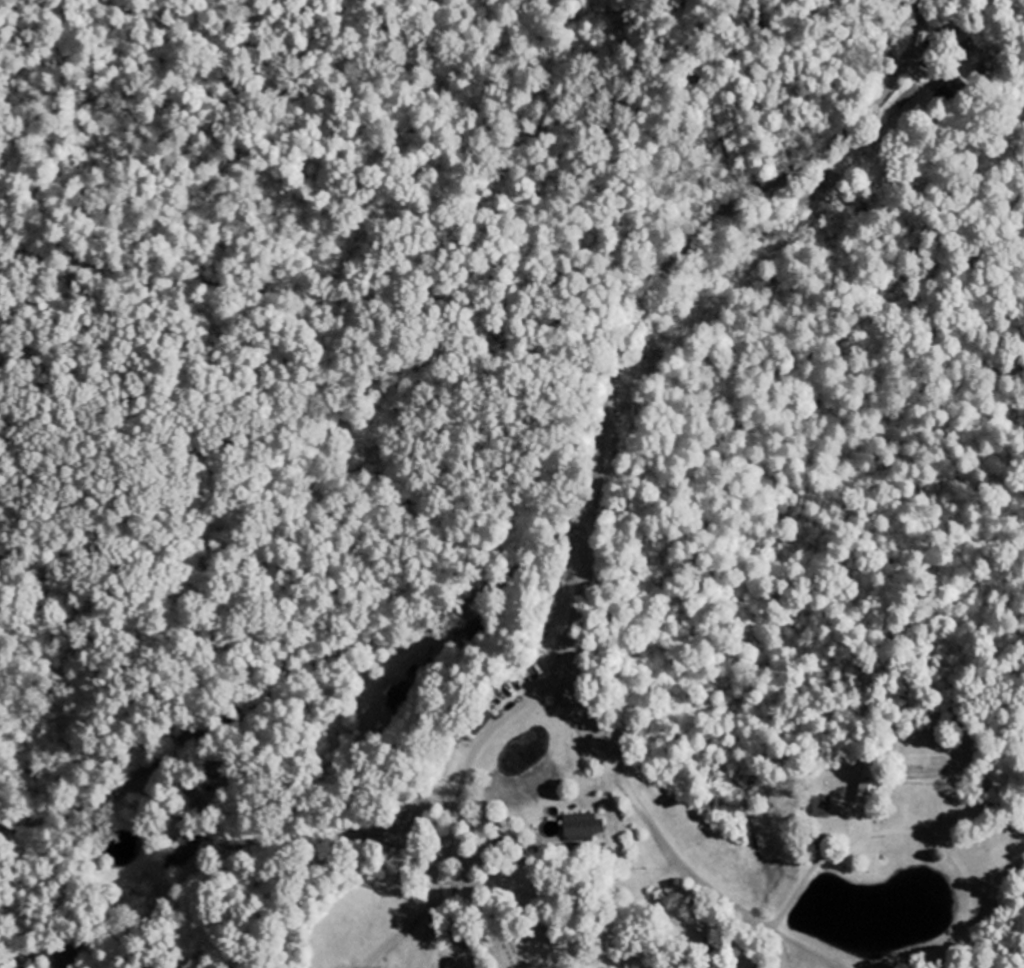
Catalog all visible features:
road: (919, 19)
building: (953, 92)
road: (700, 237)
road: (295, 663)
building: (401, 697)
road: (618, 781)
building: (870, 787)
building: (822, 806)
road: (455, 807)
building: (584, 827)
building: (838, 828)
building: (184, 849)

